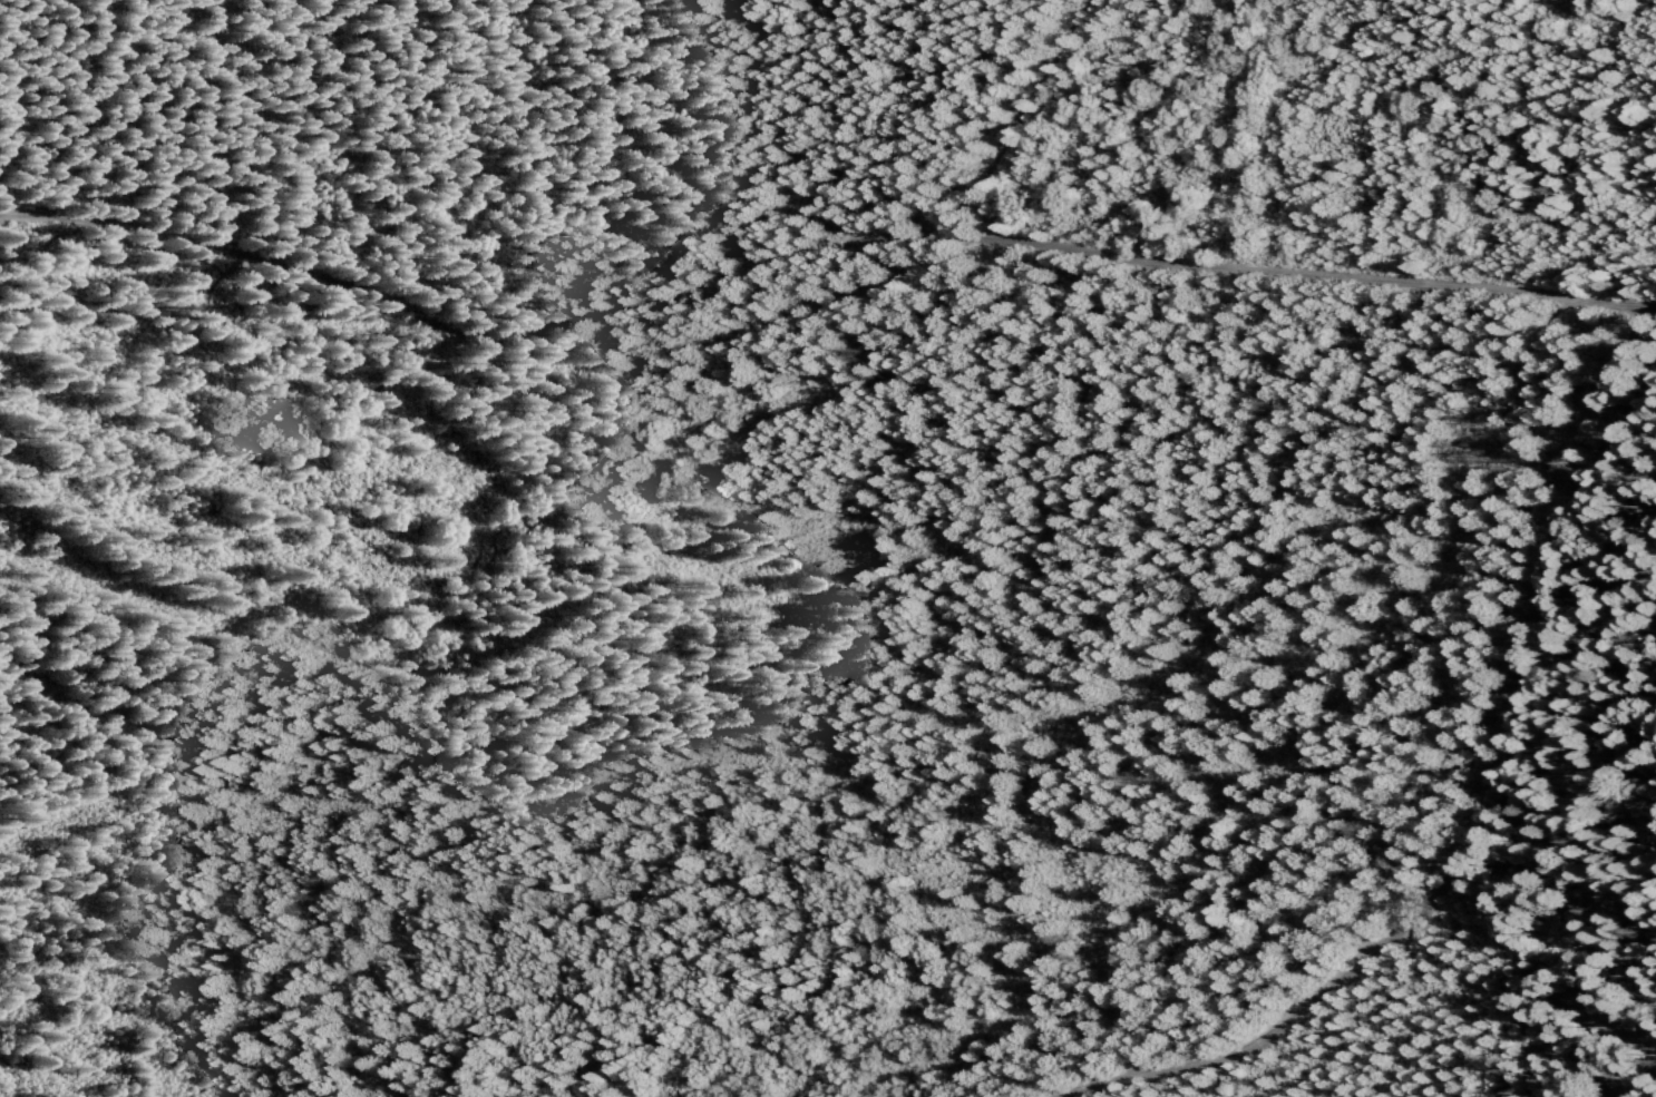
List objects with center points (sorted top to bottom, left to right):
road: (1020, 115)
road: (816, 251)
road: (559, 378)
road: (1478, 846)

